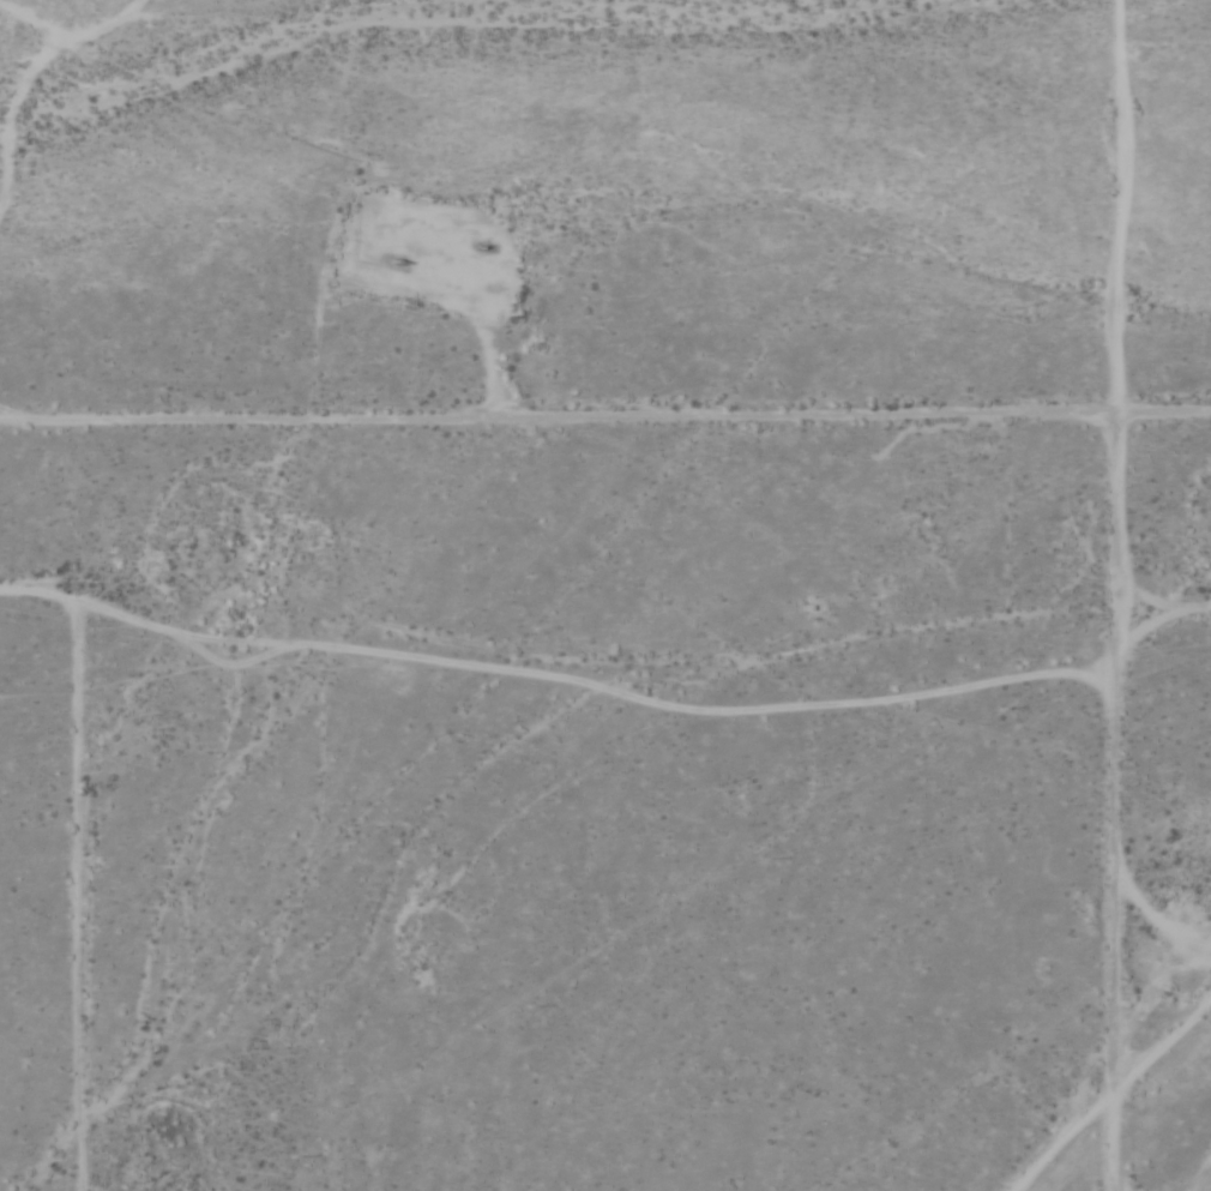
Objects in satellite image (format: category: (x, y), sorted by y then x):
crop: (1109, 209)
road: (605, 456)
road: (1107, 595)
road: (1128, 1109)

